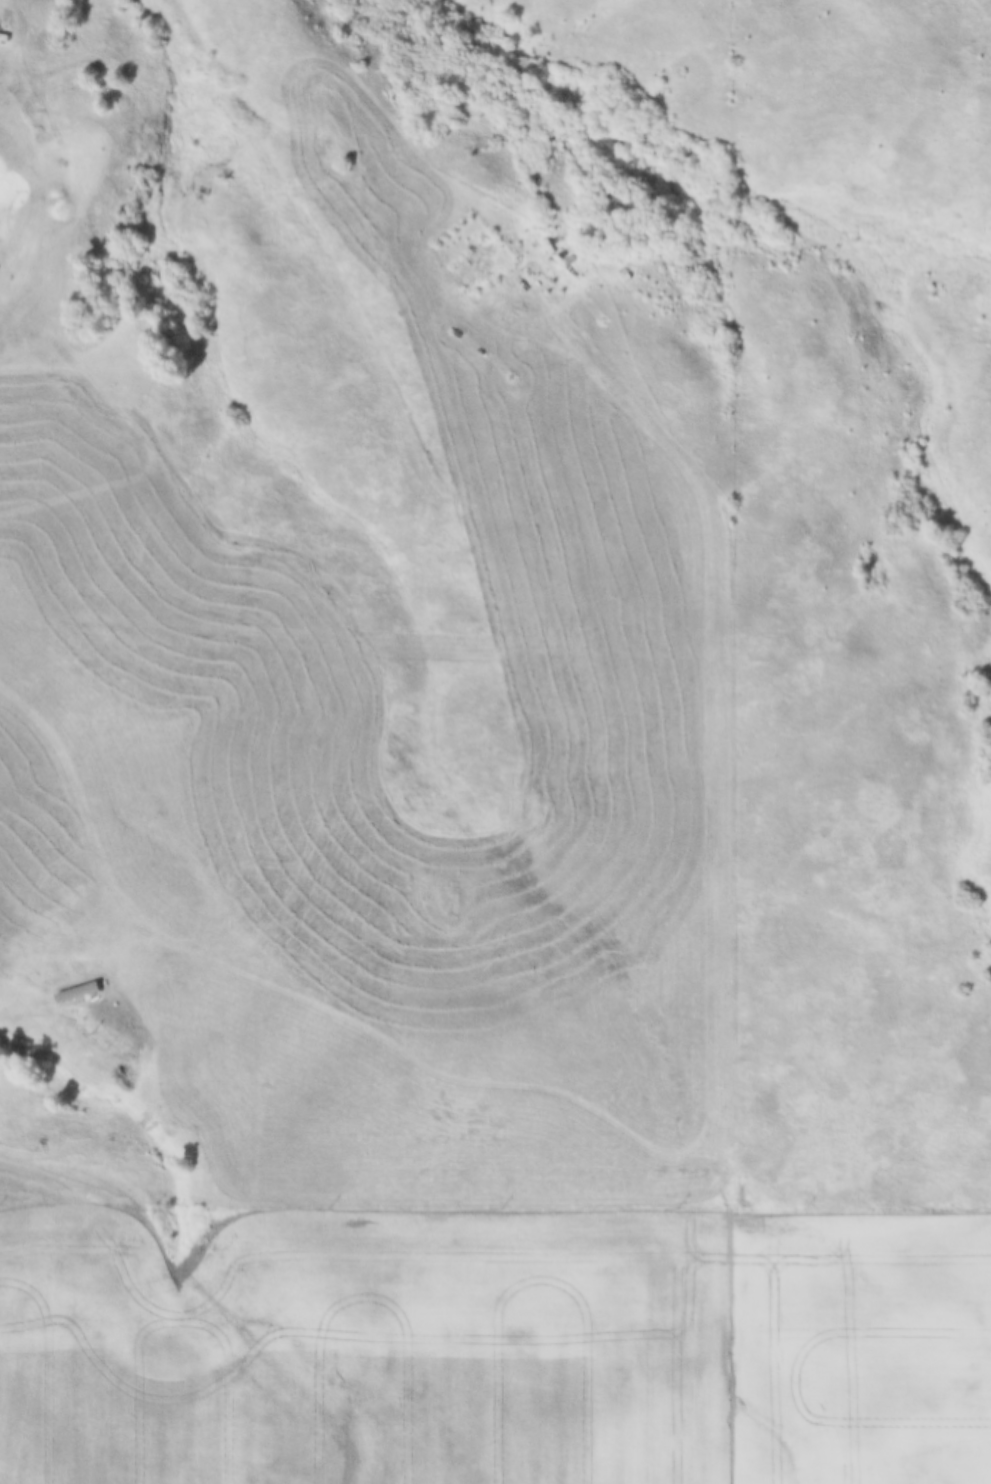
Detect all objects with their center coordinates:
building: (98, 962)
road: (494, 1211)

